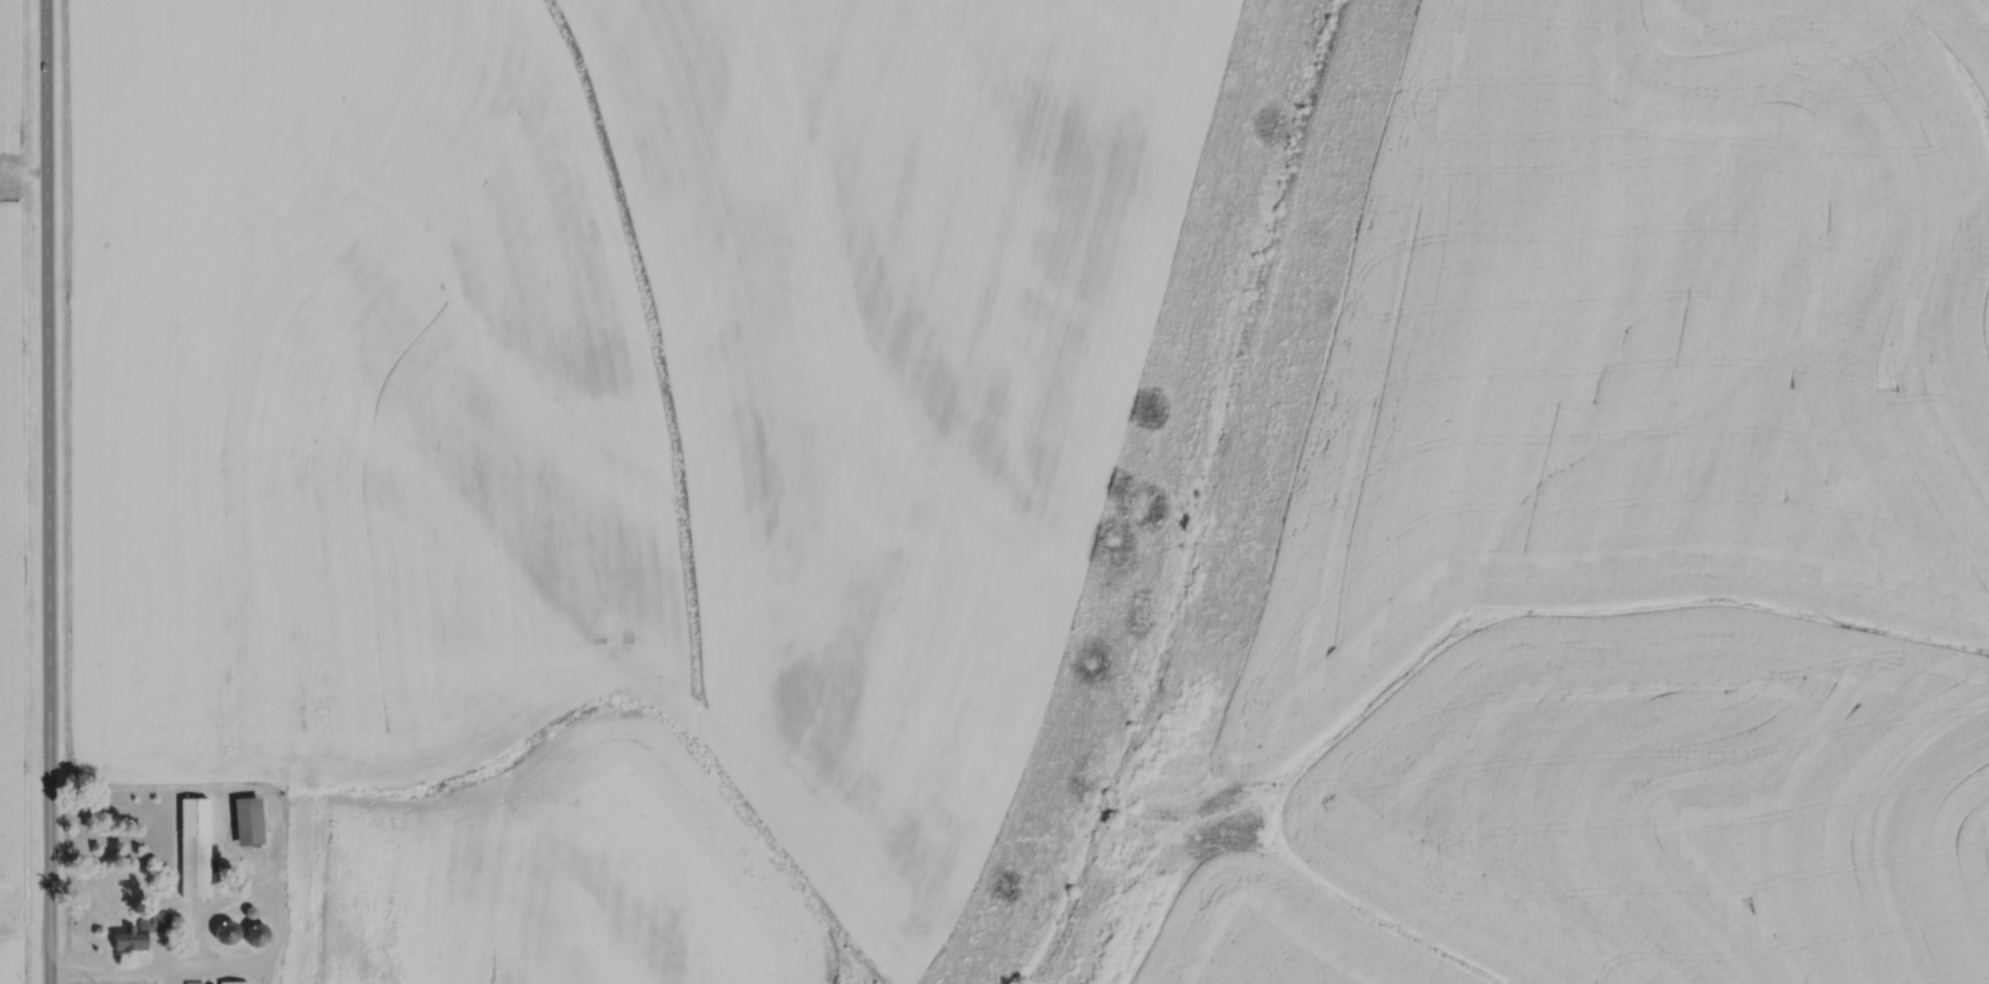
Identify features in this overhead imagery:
road: (47, 491)
building: (249, 820)
building: (195, 846)
building: (142, 931)
building: (230, 933)
building: (258, 934)
road: (112, 969)
building: (234, 982)

